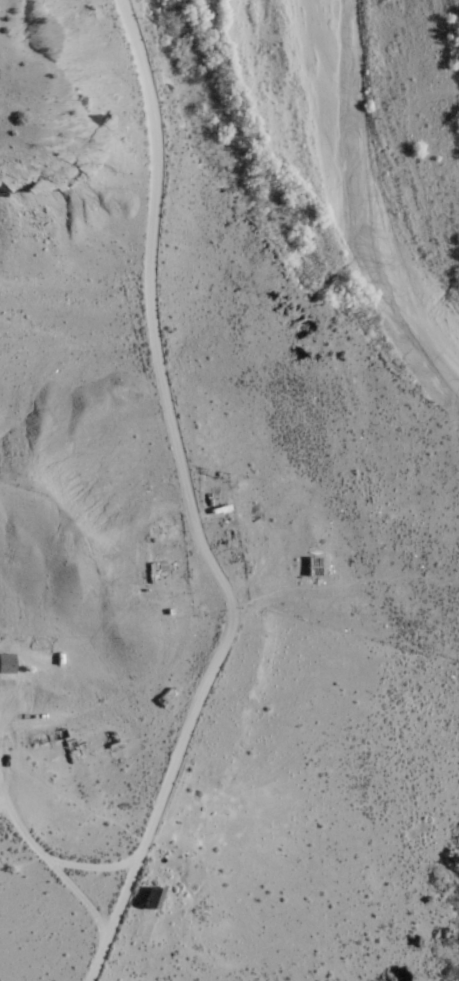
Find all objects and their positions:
river: (321, 172)
road: (148, 291)
building: (311, 565)
building: (155, 569)
building: (6, 663)
building: (165, 696)
road: (166, 778)
building: (150, 898)

